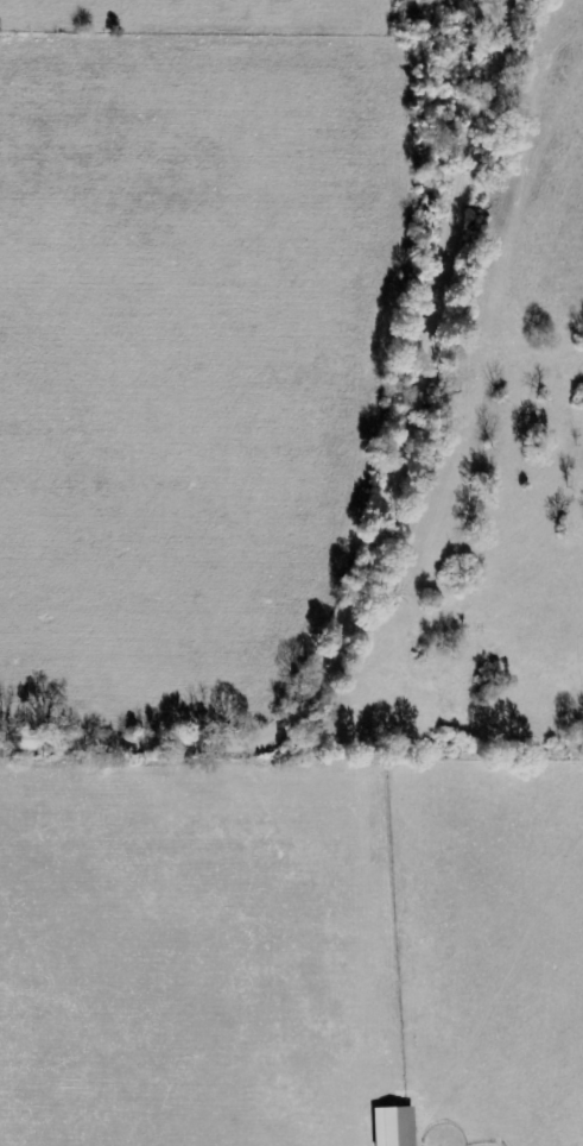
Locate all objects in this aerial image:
road: (375, 509)
building: (392, 1127)

